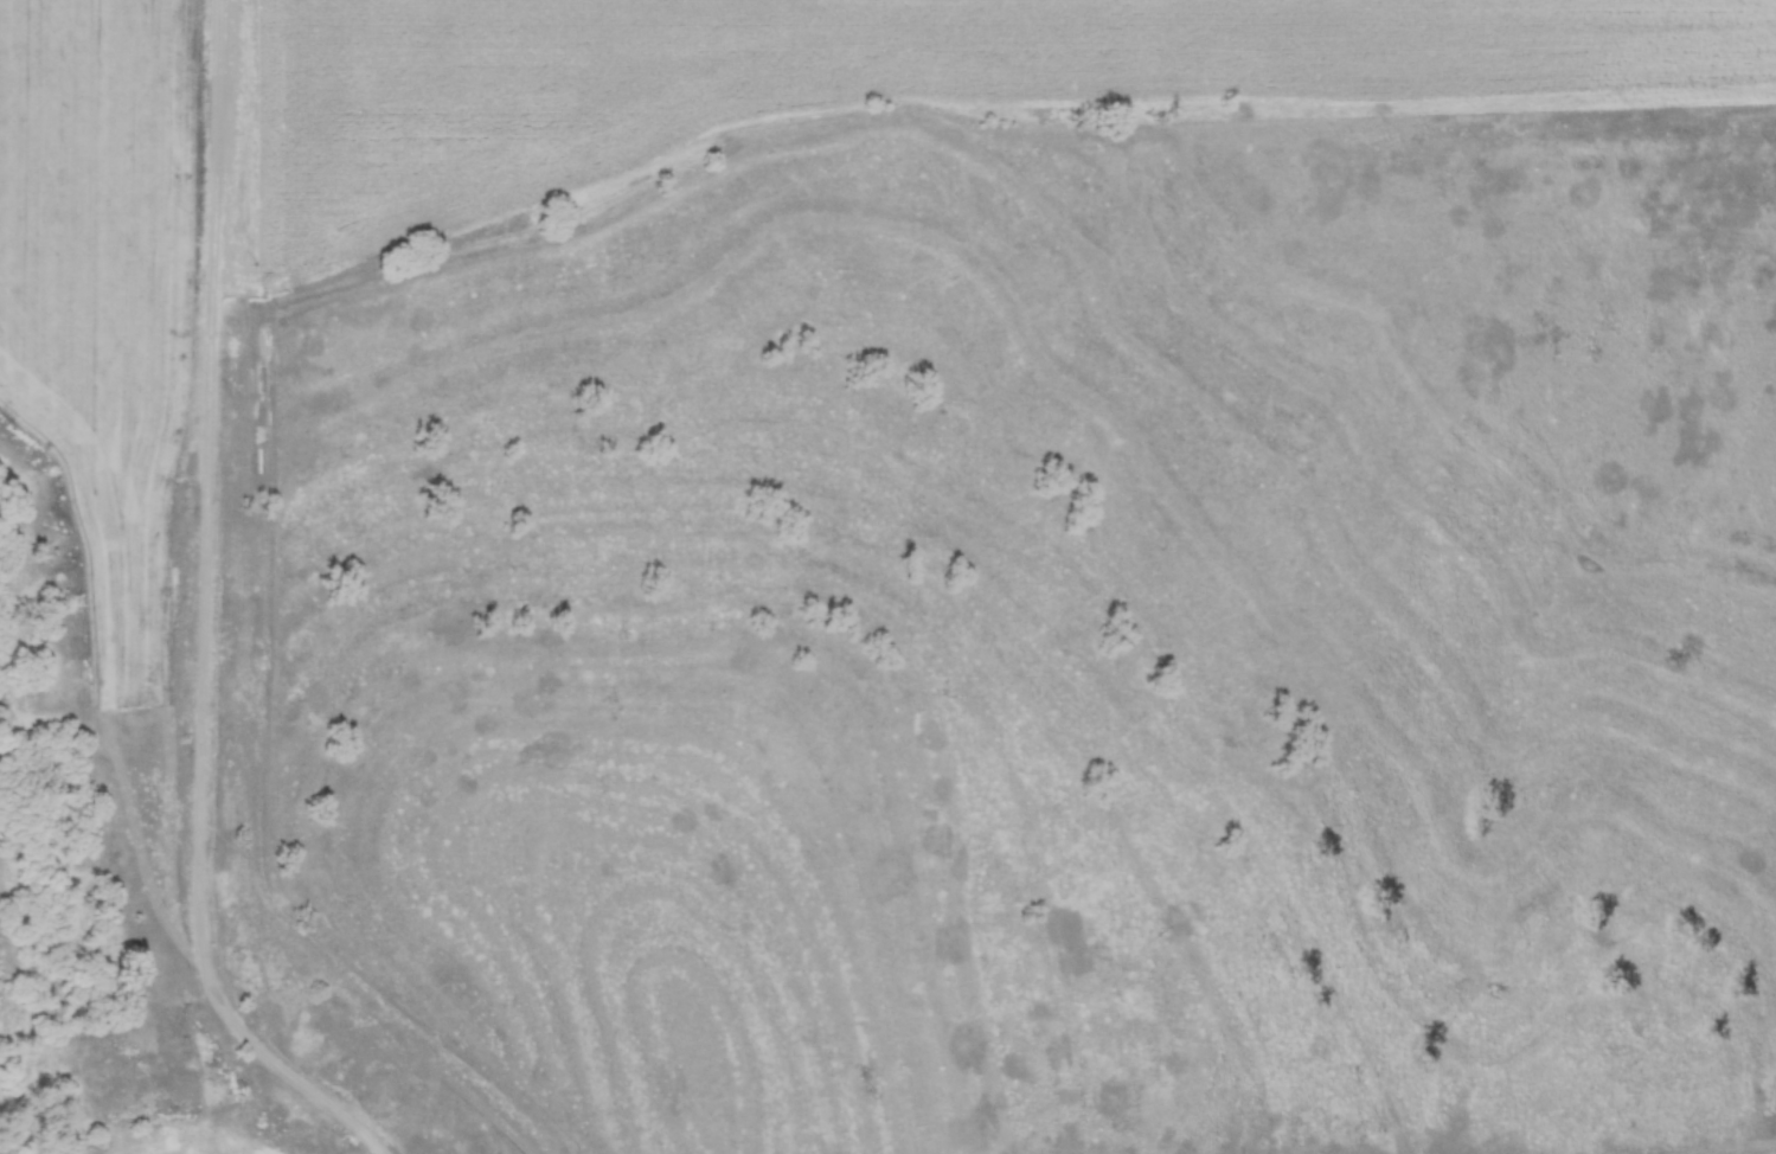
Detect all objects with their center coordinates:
road: (207, 613)

